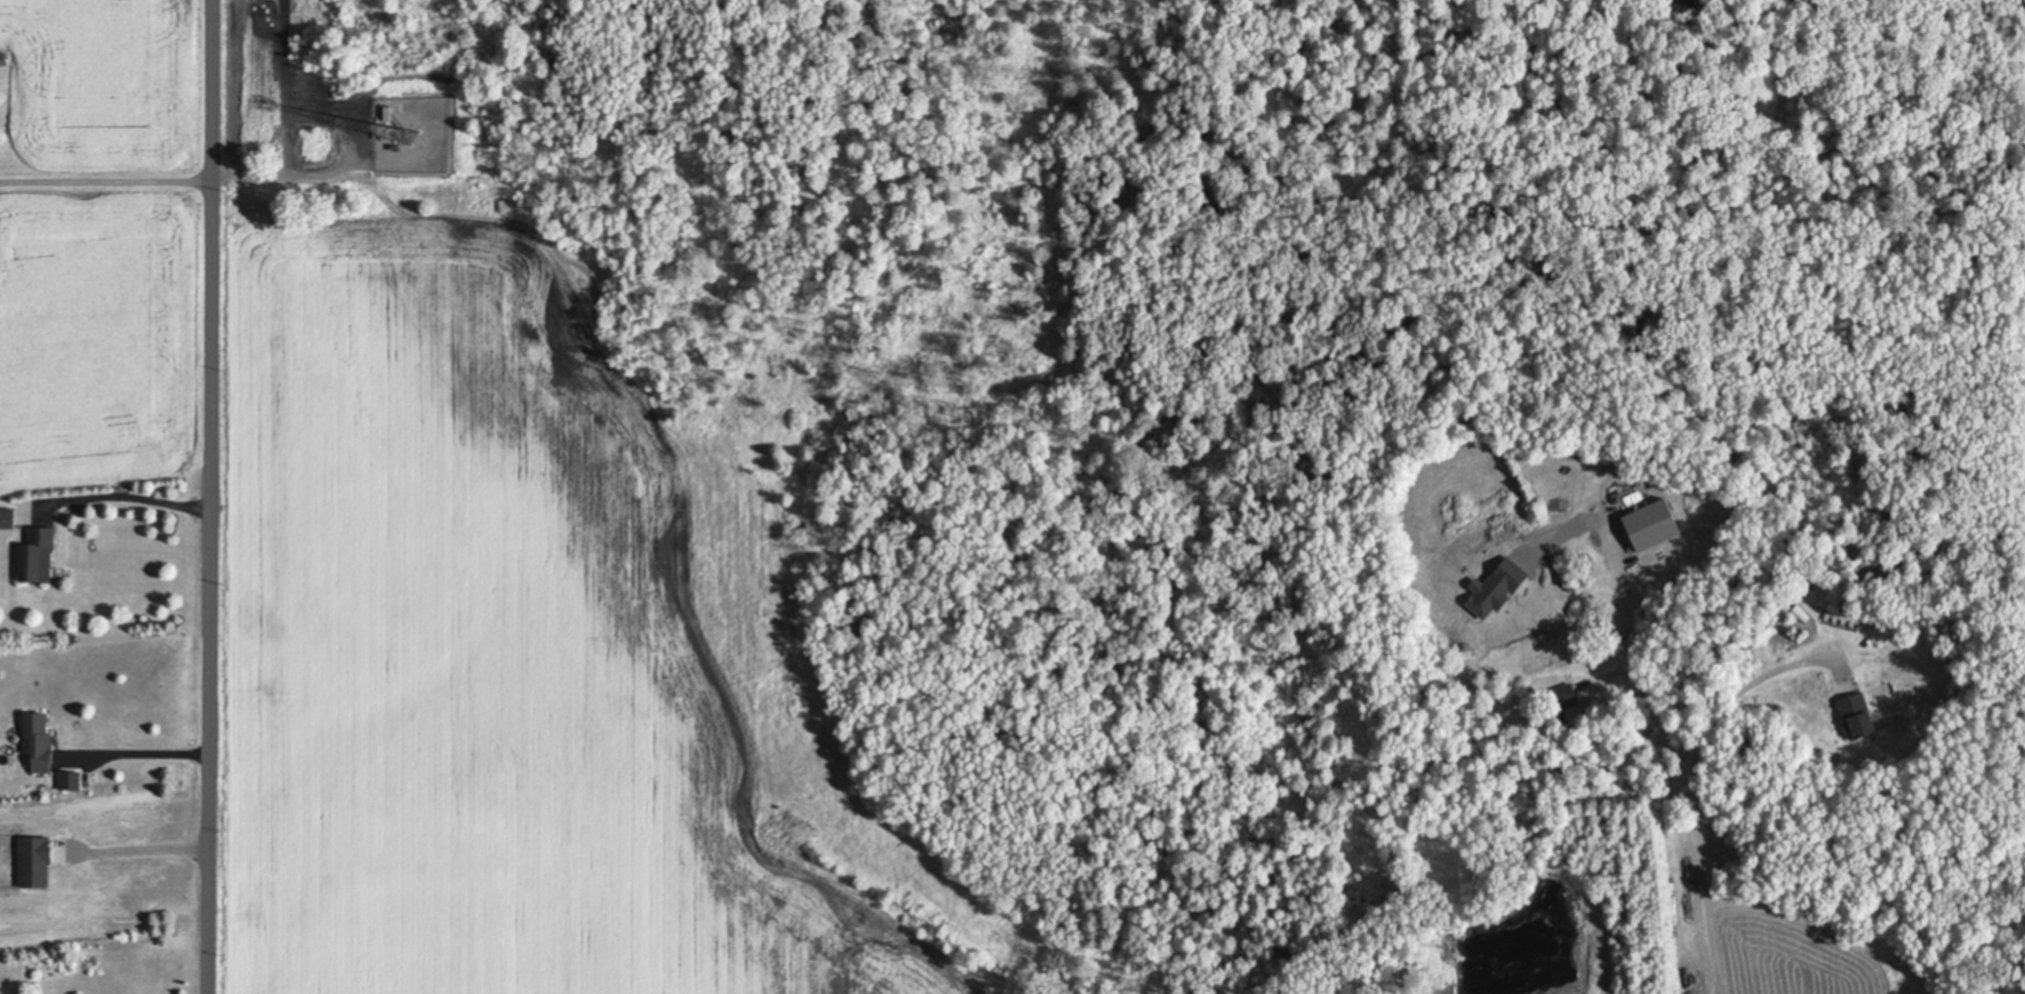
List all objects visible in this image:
building: (4, 58)
building: (389, 112)
road: (105, 176)
road: (122, 491)
road: (212, 497)
building: (7, 517)
building: (1654, 523)
building: (38, 554)
building: (1502, 589)
building: (1797, 591)
building: (1833, 595)
road: (1630, 664)
building: (1565, 695)
building: (1859, 715)
building: (39, 738)
road: (139, 750)
building: (73, 781)
road: (1695, 787)
building: (38, 863)

